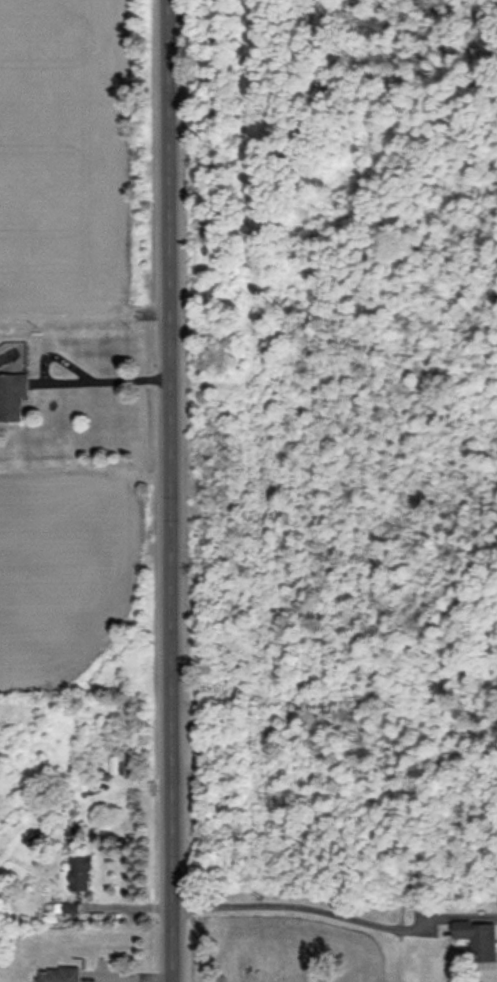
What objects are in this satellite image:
road: (115, 381)
building: (13, 396)
road: (170, 491)
building: (80, 872)
road: (295, 907)
building: (477, 939)
building: (59, 974)

